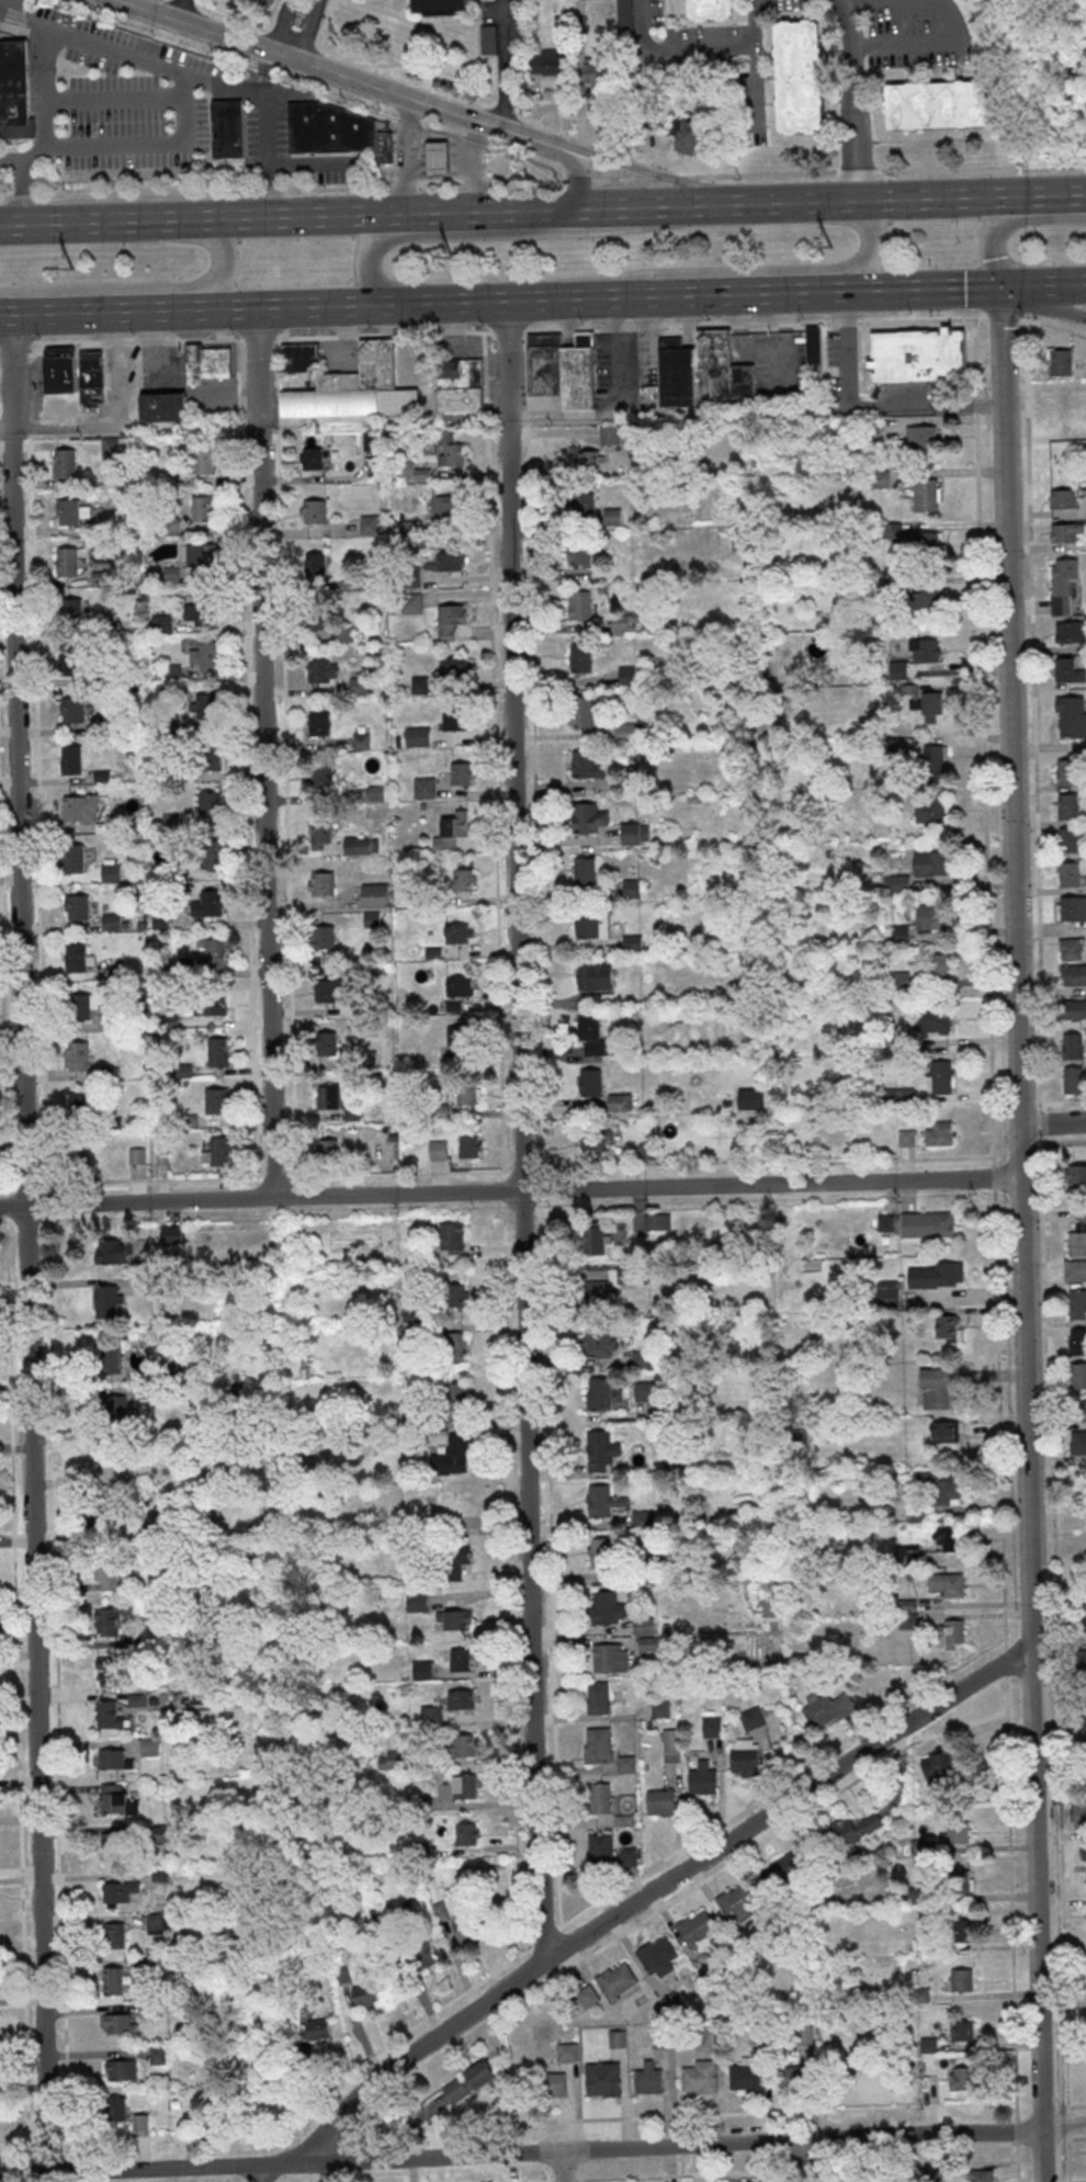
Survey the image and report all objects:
road: (842, 0)
building: (15, 2)
building: (437, 4)
road: (501, 7)
building: (712, 10)
road: (188, 12)
building: (625, 13)
road: (280, 25)
road: (308, 31)
building: (488, 37)
road: (919, 42)
road: (699, 45)
building: (550, 61)
building: (597, 69)
road: (502, 70)
road: (342, 75)
road: (191, 76)
building: (801, 76)
building: (636, 82)
building: (14, 89)
road: (115, 98)
road: (856, 98)
building: (942, 103)
road: (412, 124)
building: (227, 126)
building: (329, 127)
road: (46, 129)
road: (441, 134)
building: (688, 134)
road: (144, 143)
road: (422, 143)
road: (435, 143)
road: (448, 143)
building: (384, 146)
road: (476, 146)
road: (456, 148)
road: (417, 150)
road: (404, 154)
road: (584, 154)
road: (454, 155)
road: (471, 155)
road: (435, 156)
road: (408, 157)
road: (418, 157)
building: (435, 157)
road: (525, 159)
road: (456, 162)
road: (417, 165)
road: (477, 165)
road: (982, 169)
road: (435, 171)
road: (448, 171)
road: (422, 172)
road: (856, 172)
road: (761, 176)
road: (575, 177)
road: (576, 178)
road: (666, 179)
road: (525, 180)
road: (615, 180)
road: (669, 180)
road: (476, 181)
road: (575, 181)
road: (439, 182)
road: (401, 184)
road: (268, 190)
road: (335, 190)
road: (1052, 193)
road: (145, 194)
road: (2, 196)
road: (20, 196)
road: (797, 202)
road: (483, 210)
road: (195, 218)
road: (1008, 219)
road: (472, 233)
power tower: (830, 253)
traffic signals: (993, 259)
power tower: (452, 262)
road: (750, 269)
power tower: (72, 274)
road: (965, 286)
traffic signals: (1000, 286)
road: (145, 287)
traffic signals: (963, 287)
road: (746, 295)
road: (421, 303)
road: (1047, 306)
road: (103, 312)
road: (4, 314)
road: (999, 317)
road: (1051, 325)
traffic signals: (1002, 327)
road: (491, 330)
building: (815, 347)
building: (918, 354)
building: (301, 357)
building: (207, 362)
building: (1057, 362)
building: (562, 368)
building: (725, 368)
building: (60, 369)
building: (677, 372)
building: (92, 375)
building: (461, 385)
building: (357, 388)
building: (165, 406)
road: (893, 406)
road: (392, 420)
building: (610, 433)
building: (920, 437)
building: (371, 440)
building: (113, 448)
building: (450, 450)
building: (584, 456)
building: (202, 459)
building: (309, 459)
building: (65, 462)
building: (411, 470)
building: (926, 494)
building: (1061, 498)
building: (584, 505)
building: (445, 507)
building: (199, 508)
building: (72, 511)
building: (312, 511)
building: (613, 515)
building: (370, 523)
building: (1063, 531)
building: (928, 544)
building: (579, 551)
building: (203, 558)
building: (451, 559)
building: (68, 561)
building: (313, 564)
building: (172, 573)
building: (1059, 583)
building: (411, 601)
building: (580, 603)
building: (202, 608)
building: (71, 610)
building: (314, 618)
building: (451, 620)
building: (162, 622)
building: (624, 623)
building: (1070, 631)
building: (347, 633)
building: (925, 649)
building: (206, 656)
building: (580, 656)
building: (70, 663)
building: (454, 667)
building: (1062, 669)
building: (316, 670)
building: (172, 671)
building: (420, 685)
building: (362, 686)
building: (208, 704)
building: (932, 705)
road: (1009, 705)
building: (73, 709)
building: (578, 709)
road: (1031, 714)
building: (1070, 717)
building: (454, 720)
building: (318, 722)
building: (627, 731)
building: (417, 736)
building: (361, 739)
road: (265, 753)
building: (213, 756)
building: (71, 758)
building: (581, 761)
building: (935, 761)
building: (1064, 771)
building: (462, 772)
building: (319, 776)
building: (425, 787)
building: (208, 803)
building: (1063, 806)
building: (81, 807)
building: (931, 810)
building: (590, 816)
building: (173, 819)
building: (320, 829)
building: (453, 832)
building: (635, 833)
building: (1065, 839)
building: (361, 845)
building: (213, 853)
building: (73, 857)
building: (930, 861)
building: (584, 867)
building: (112, 868)
building: (1065, 873)
building: (465, 879)
building: (321, 882)
building: (901, 882)
building: (376, 894)
building: (210, 903)
building: (78, 906)
building: (1071, 908)
building: (929, 916)
building: (113, 920)
building: (591, 923)
building: (461, 932)
building: (323, 936)
building: (1068, 948)
building: (208, 952)
building: (79, 957)
building: (939, 965)
building: (1073, 973)
building: (901, 981)
building: (596, 983)
building: (460, 986)
building: (325, 990)
building: (211, 1003)
building: (86, 1004)
building: (1071, 1008)
building: (932, 1018)
building: (592, 1036)
building: (326, 1042)
building: (459, 1042)
building: (1071, 1045)
building: (217, 1051)
building: (79, 1054)
road: (2, 1076)
building: (941, 1076)
building: (1073, 1079)
building: (590, 1081)
building: (470, 1093)
building: (900, 1095)
building: (327, 1096)
building: (217, 1100)
building: (620, 1101)
building: (82, 1103)
road: (1041, 1121)
road: (1053, 1124)
road: (519, 1131)
building: (939, 1132)
building: (597, 1139)
building: (471, 1145)
building: (81, 1150)
building: (327, 1150)
building: (439, 1150)
building: (218, 1151)
building: (647, 1151)
building: (138, 1155)
building: (1076, 1173)
road: (196, 1178)
road: (510, 1190)
building: (1060, 1195)
building: (657, 1221)
building: (928, 1223)
building: (171, 1232)
building: (1078, 1234)
building: (596, 1236)
building: (453, 1240)
road: (27, 1243)
building: (112, 1253)
building: (1075, 1269)
building: (936, 1275)
building: (597, 1292)
building: (889, 1292)
building: (459, 1294)
building: (109, 1300)
building: (1077, 1303)
building: (949, 1326)
building: (1077, 1339)
building: (598, 1341)
building: (455, 1345)
building: (111, 1359)
building: (1078, 1375)
building: (940, 1388)
building: (645, 1390)
road: (1026, 1392)
building: (599, 1393)
road: (996, 1397)
building: (455, 1400)
building: (112, 1403)
building: (1083, 1410)
building: (946, 1431)
building: (1077, 1440)
building: (598, 1448)
building: (111, 1455)
building: (453, 1455)
building: (109, 1468)
building: (1079, 1473)
building: (941, 1485)
building: (604, 1501)
building: (455, 1503)
building: (113, 1518)
building: (644, 1518)
building: (947, 1538)
building: (601, 1551)
building: (454, 1560)
building: (109, 1575)
building: (947, 1583)
building: (416, 1601)
building: (603, 1608)
building: (457, 1618)
building: (109, 1621)
road: (1059, 1621)
building: (645, 1625)
building: (950, 1633)
building: (610, 1657)
road: (1054, 1658)
building: (459, 1659)
building: (1079, 1659)
building: (109, 1665)
road: (511, 1681)
road: (918, 1688)
building: (597, 1697)
building: (138, 1699)
building: (460, 1699)
building: (660, 1707)
building: (828, 1708)
building: (753, 1717)
building: (110, 1718)
building: (712, 1726)
building: (1085, 1727)
building: (466, 1744)
building: (671, 1744)
building: (150, 1745)
building: (597, 1745)
building: (745, 1755)
building: (111, 1757)
building: (388, 1759)
building: (944, 1764)
building: (703, 1777)
building: (1085, 1779)
building: (467, 1785)
building: (600, 1797)
building: (113, 1800)
building: (661, 1800)
building: (1079, 1814)
building: (855, 1831)
building: (957, 1831)
building: (468, 1833)
building: (112, 1841)
building: (1083, 1849)
building: (599, 1851)
building: (787, 1870)
building: (959, 1876)
building: (1085, 1886)
road: (652, 1889)
building: (120, 1892)
building: (735, 1900)
road: (1039, 1920)
building: (160, 1922)
building: (695, 1926)
building: (465, 1927)
building: (962, 1930)
building: (114, 1934)
building: (426, 1951)
building: (656, 1953)
building: (113, 1979)
building: (962, 1979)
building: (618, 1980)
building: (365, 1994)
building: (588, 1996)
building: (671, 2000)
building: (121, 2022)
building: (316, 2028)
building: (963, 2030)
building: (805, 2034)
building: (712, 2036)
building: (618, 2037)
building: (660, 2037)
building: (568, 2051)
building: (123, 2069)
building: (748, 2073)
building: (795, 2074)
building: (701, 2076)
building: (649, 2077)
building: (962, 2078)
building: (603, 2079)
building: (471, 2080)
building: (554, 2084)
building: (117, 2107)
building: (140, 2121)
road: (1064, 2123)
road: (521, 2155)
road: (800, 2160)
road: (562, 2168)
road: (796, 2170)
road: (327, 2171)
road: (267, 2173)
building: (981, 2175)
building: (867, 2179)
road: (578, 2180)

